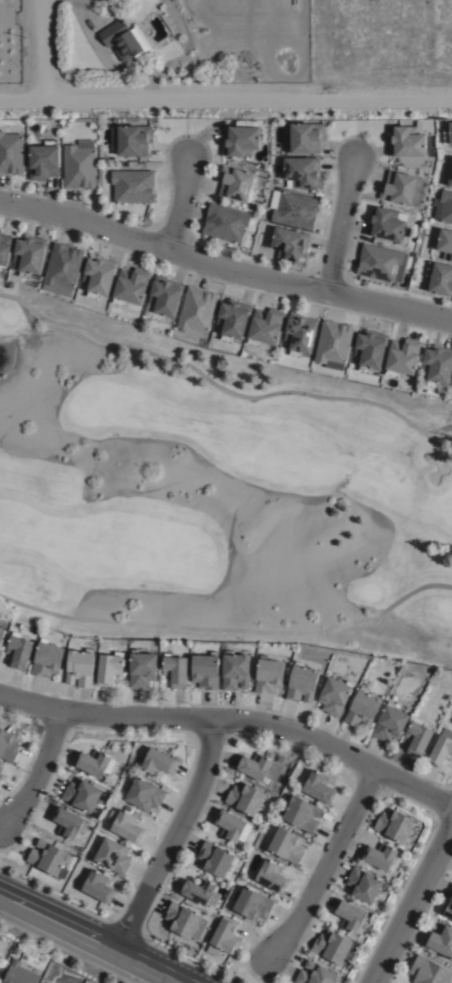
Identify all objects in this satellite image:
building: (124, 40)
road: (41, 46)
road: (225, 93)
building: (448, 134)
building: (305, 137)
building: (133, 139)
building: (239, 139)
building: (406, 142)
building: (11, 153)
building: (43, 161)
building: (79, 165)
building: (302, 171)
building: (447, 172)
building: (236, 183)
building: (133, 185)
building: (398, 187)
road: (180, 206)
building: (443, 206)
building: (294, 210)
building: (225, 222)
building: (385, 224)
road: (341, 227)
building: (0, 230)
building: (290, 243)
building: (445, 243)
building: (4, 250)
building: (29, 254)
building: (381, 263)
building: (62, 269)
road: (224, 269)
building: (99, 276)
building: (440, 277)
building: (131, 286)
building: (165, 296)
building: (197, 310)
building: (232, 319)
building: (264, 326)
building: (299, 333)
building: (203, 343)
building: (333, 344)
building: (370, 350)
building: (402, 358)
building: (437, 365)
building: (451, 390)
park: (217, 493)
building: (2, 637)
building: (19, 652)
building: (46, 660)
building: (80, 669)
building: (110, 669)
building: (141, 670)
building: (174, 671)
building: (204, 671)
building: (234, 671)
building: (268, 676)
building: (301, 684)
building: (334, 697)
building: (363, 711)
building: (390, 724)
road: (232, 725)
building: (418, 739)
building: (8, 747)
building: (441, 753)
building: (158, 764)
building: (93, 765)
building: (253, 769)
road: (38, 774)
building: (0, 776)
building: (0, 780)
building: (317, 789)
building: (143, 795)
building: (82, 797)
building: (245, 800)
building: (302, 816)
building: (69, 825)
building: (394, 827)
building: (125, 828)
building: (229, 828)
road: (171, 836)
building: (286, 847)
building: (111, 857)
building: (381, 858)
building: (50, 860)
building: (214, 861)
road: (327, 870)
building: (271, 878)
building: (363, 887)
building: (98, 889)
building: (199, 893)
building: (250, 905)
road: (414, 905)
building: (447, 908)
building: (352, 920)
building: (184, 924)
road: (91, 938)
building: (224, 940)
building: (439, 944)
building: (332, 950)
building: (429, 972)
building: (19, 975)
building: (315, 975)

